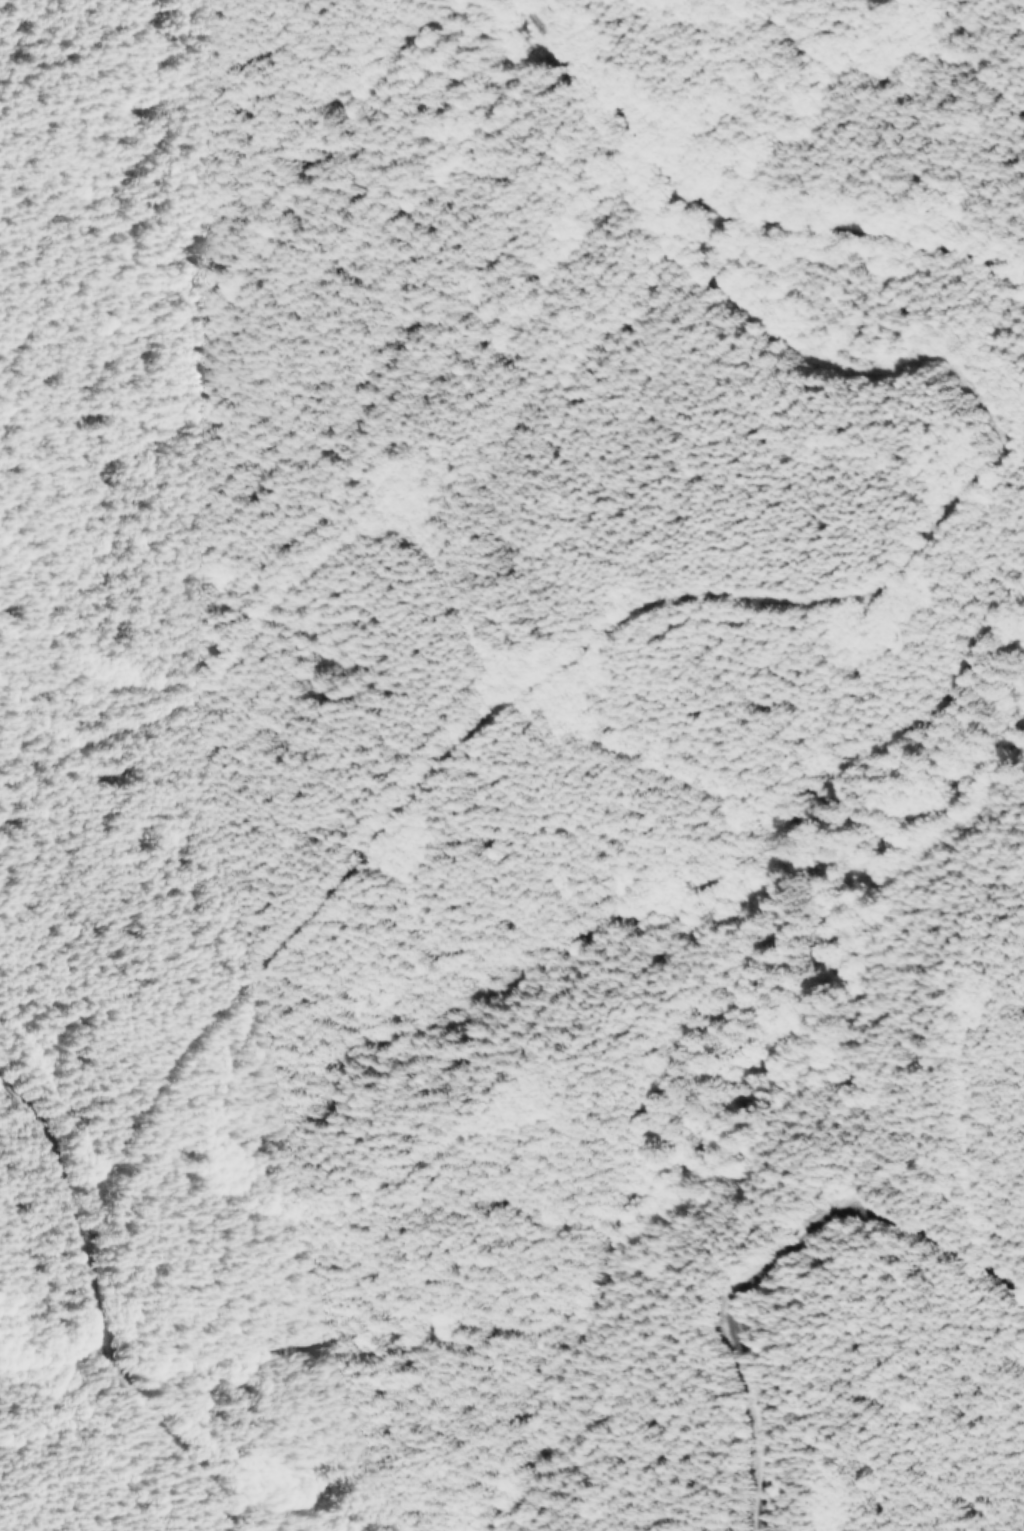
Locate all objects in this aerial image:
road: (771, 207)
road: (817, 1265)
road: (78, 1368)

